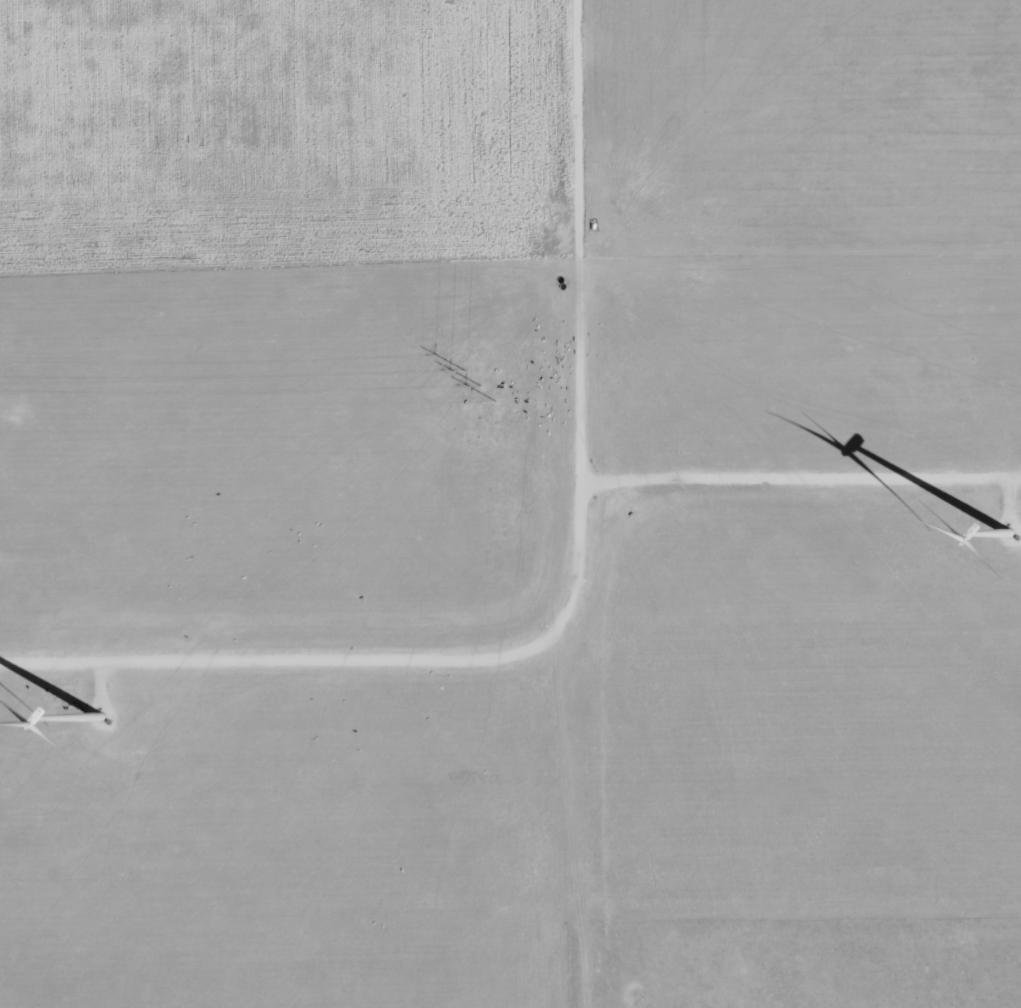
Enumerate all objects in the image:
power tower: (479, 382)
wind turbine: (1002, 535)
wind turbine: (98, 717)

